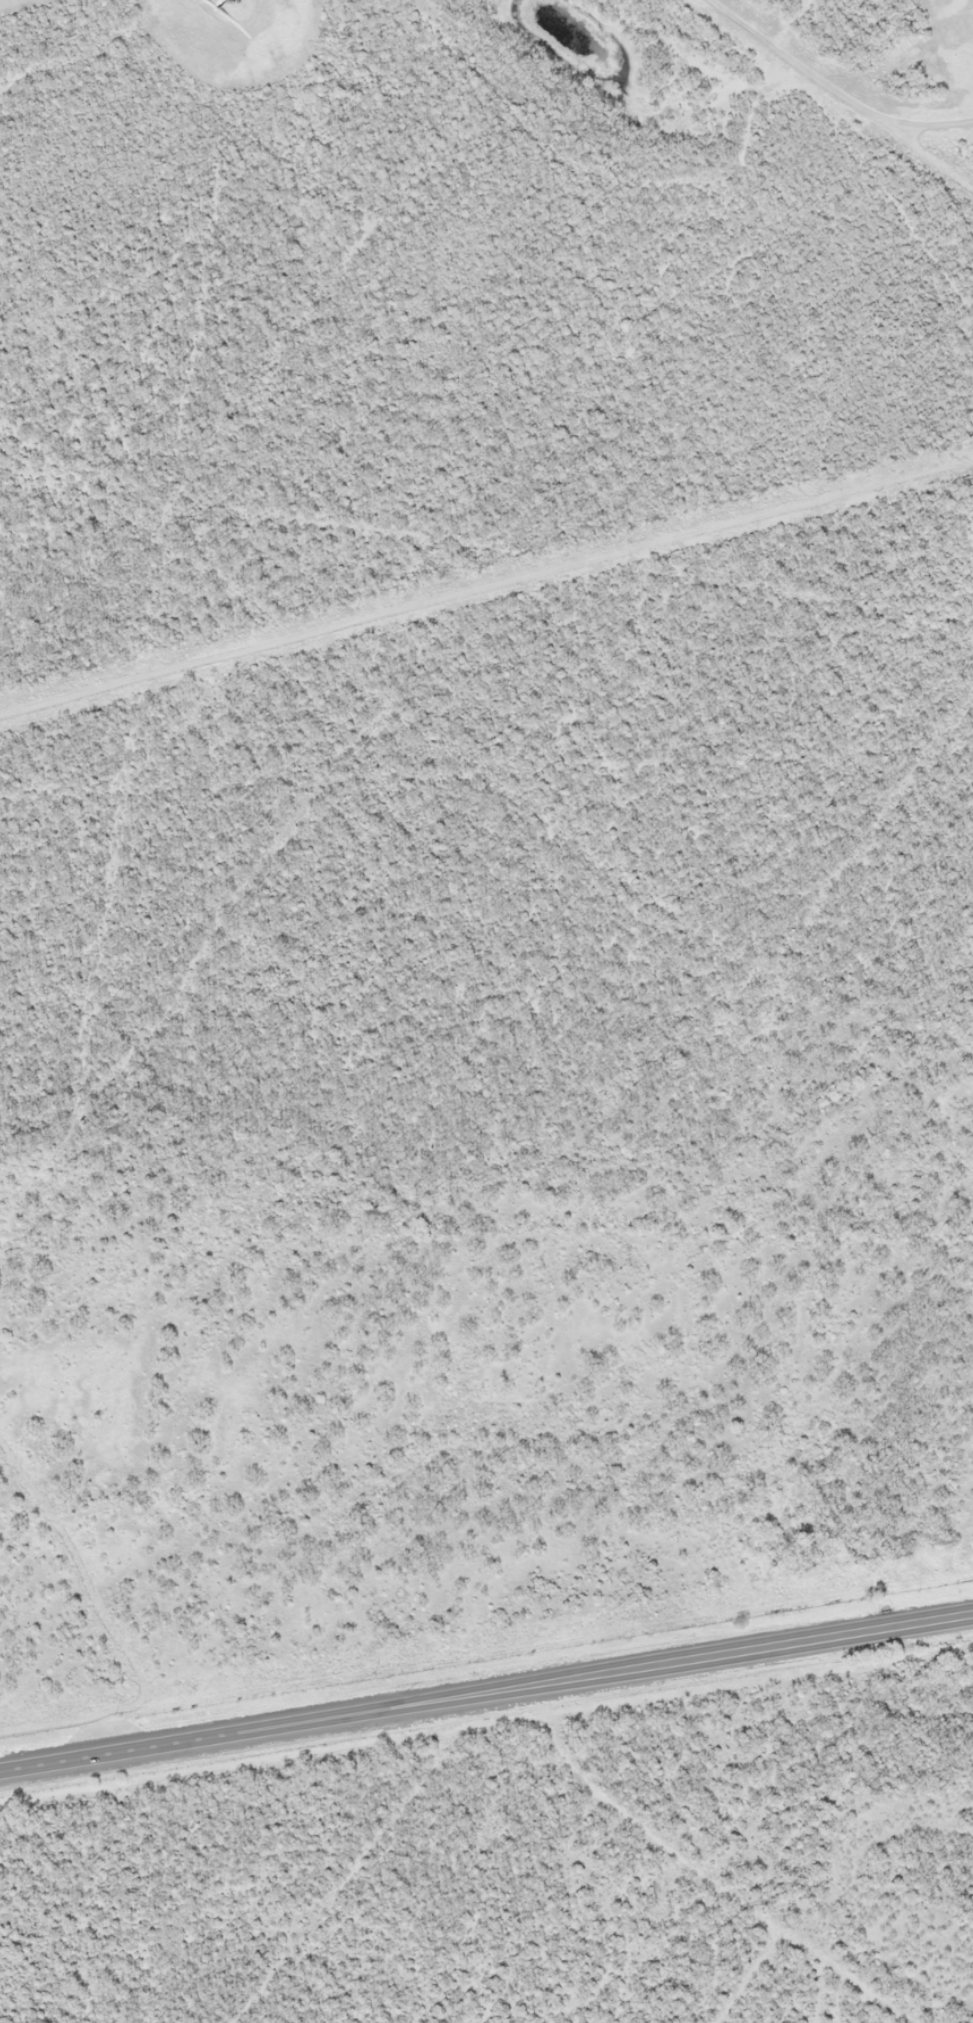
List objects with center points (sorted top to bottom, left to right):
wind turbine: (232, 1)
road: (412, 571)
road: (486, 1680)

